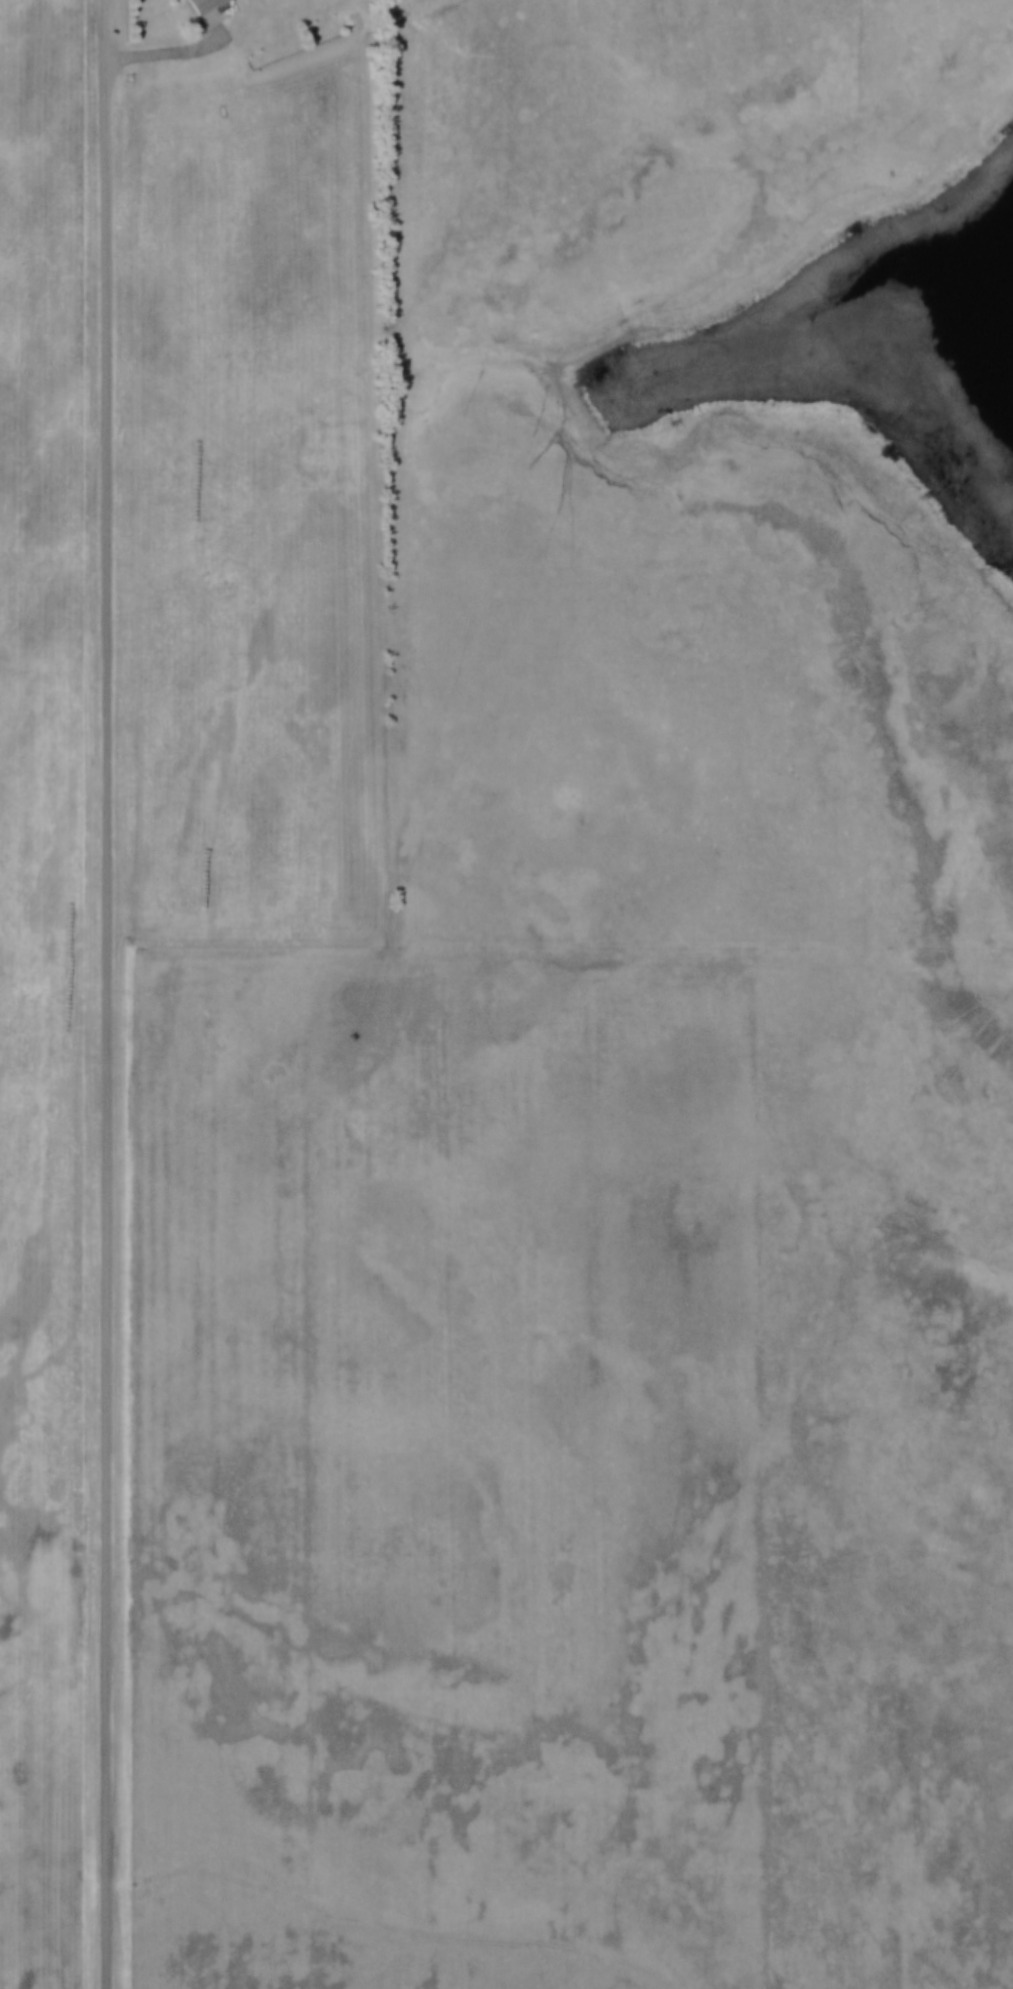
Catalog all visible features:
building: (188, 21)
road: (160, 79)
road: (114, 994)

